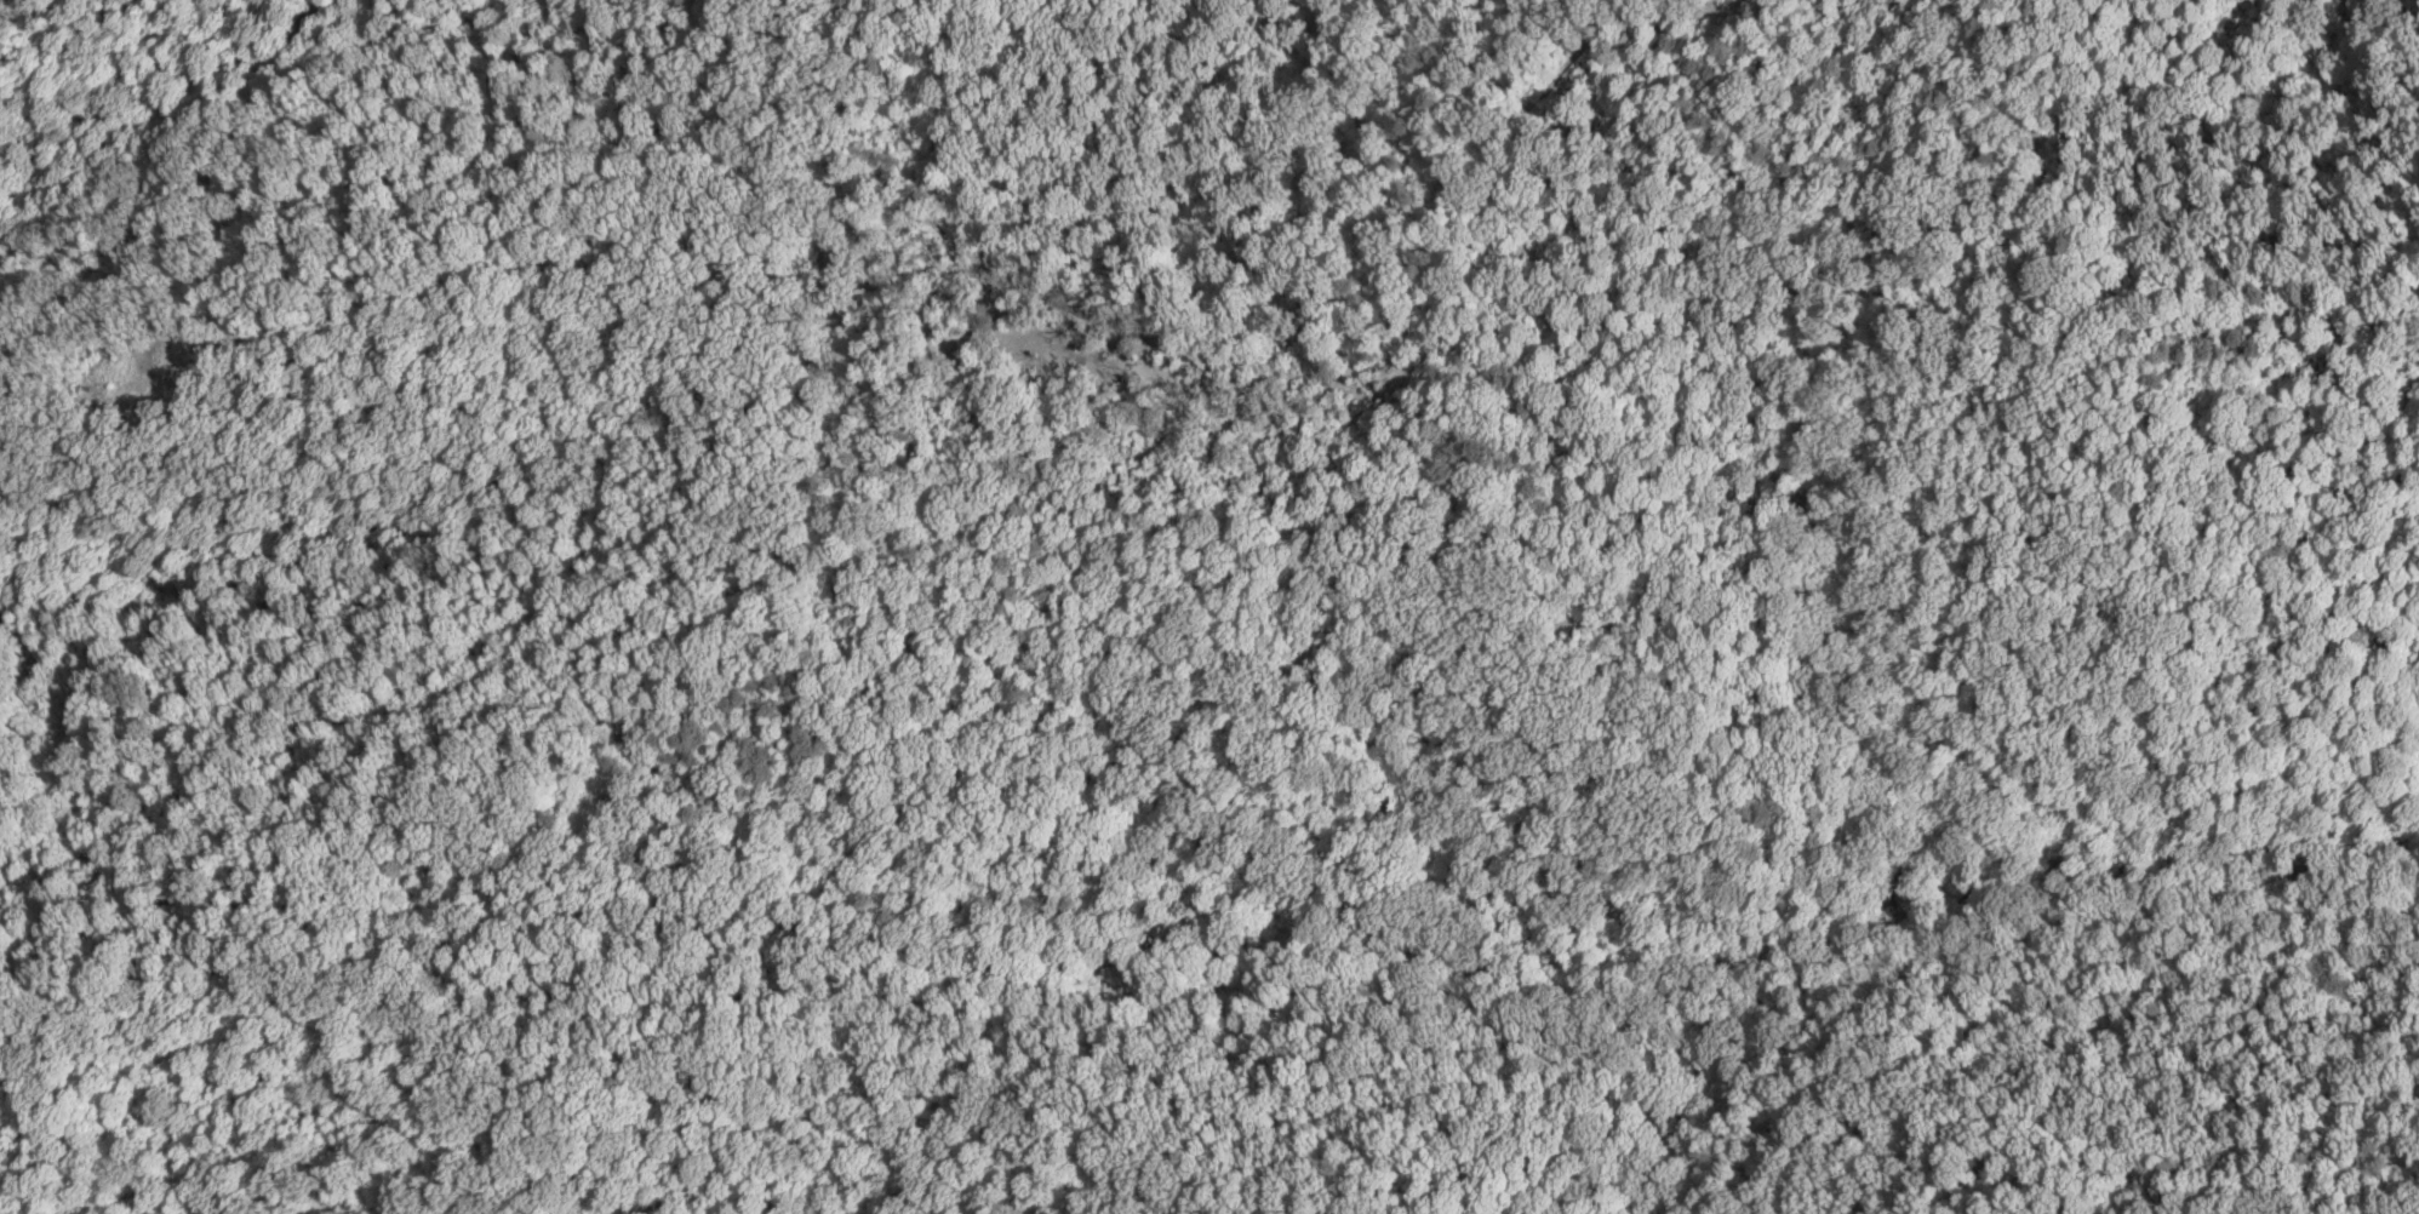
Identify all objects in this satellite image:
road: (2081, 274)
road: (1311, 372)

